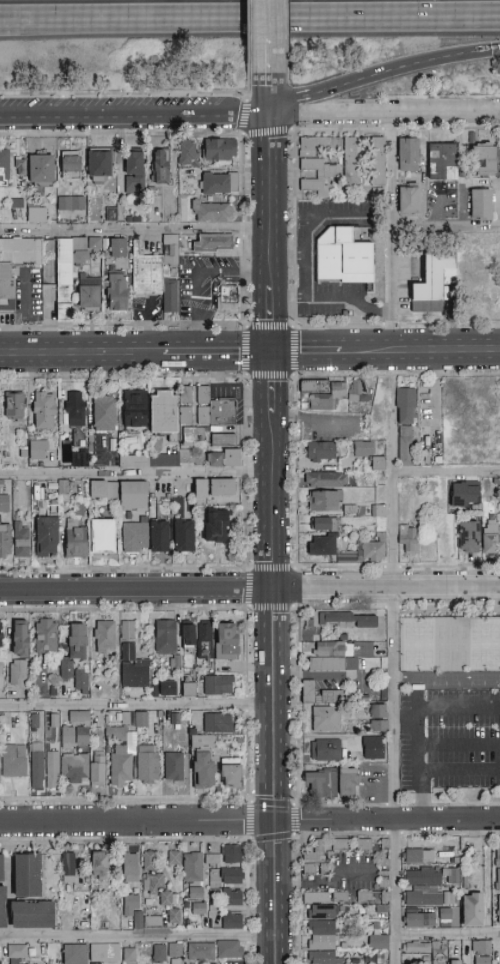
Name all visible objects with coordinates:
road: (249, 22)
road: (270, 44)
road: (496, 52)
road: (378, 76)
road: (135, 115)
traffic signals: (270, 116)
road: (385, 116)
road: (448, 128)
road: (330, 129)
road: (389, 129)
building: (220, 149)
building: (188, 153)
building: (408, 155)
building: (352, 159)
building: (485, 161)
building: (377, 162)
building: (442, 162)
building: (317, 164)
building: (1, 165)
building: (70, 165)
building: (100, 165)
building: (160, 167)
building: (41, 171)
building: (133, 172)
building: (219, 184)
building: (408, 201)
building: (71, 203)
building: (481, 204)
building: (213, 212)
building: (36, 215)
road: (270, 220)
road: (306, 224)
road: (135, 227)
road: (293, 227)
road: (444, 228)
road: (389, 232)
building: (213, 243)
building: (117, 248)
road: (288, 254)
building: (49, 255)
building: (343, 257)
building: (156, 272)
building: (65, 277)
road: (198, 277)
building: (433, 282)
building: (7, 289)
building: (117, 292)
building: (89, 294)
road: (332, 294)
building: (227, 301)
road: (449, 323)
road: (332, 324)
road: (390, 324)
road: (424, 349)
road: (309, 350)
traffic signals: (270, 351)
road: (291, 351)
road: (221, 353)
road: (86, 355)
road: (396, 374)
road: (390, 388)
building: (353, 389)
building: (323, 393)
building: (185, 405)
building: (406, 406)
building: (13, 407)
building: (74, 409)
building: (135, 409)
building: (214, 409)
building: (43, 411)
building: (164, 412)
building: (104, 413)
road: (313, 416)
building: (193, 436)
road: (392, 436)
building: (223, 440)
building: (405, 447)
building: (38, 450)
building: (320, 452)
building: (369, 454)
building: (197, 457)
building: (80, 458)
building: (162, 458)
building: (224, 459)
building: (131, 460)
road: (446, 471)
road: (135, 472)
road: (295, 476)
building: (325, 480)
building: (222, 487)
building: (200, 488)
building: (120, 493)
building: (464, 494)
building: (325, 501)
building: (4, 503)
building: (489, 510)
building: (378, 511)
building: (324, 524)
building: (215, 527)
building: (184, 535)
building: (103, 536)
building: (46, 537)
building: (159, 537)
building: (468, 537)
building: (135, 538)
building: (408, 538)
building: (21, 539)
building: (490, 539)
building: (75, 540)
building: (4, 541)
building: (322, 547)
road: (342, 567)
road: (391, 567)
road: (449, 567)
road: (271, 585)
road: (250, 589)
road: (449, 607)
road: (391, 608)
building: (347, 620)
building: (127, 630)
building: (1, 635)
building: (46, 636)
building: (188, 636)
building: (105, 637)
building: (165, 637)
building: (205, 640)
building: (20, 641)
building: (76, 641)
building: (226, 641)
park: (485, 644)
park: (419, 645)
building: (339, 655)
building: (0, 658)
building: (63, 668)
building: (133, 668)
building: (17, 672)
road: (446, 677)
building: (76, 678)
building: (218, 685)
building: (167, 690)
building: (188, 690)
building: (317, 694)
road: (136, 705)
road: (459, 708)
road: (297, 710)
building: (379, 718)
road: (393, 718)
building: (325, 719)
building: (141, 720)
building: (218, 723)
road: (406, 723)
building: (77, 730)
road: (459, 744)
building: (373, 748)
building: (325, 750)
building: (121, 755)
road: (418, 758)
building: (14, 760)
building: (147, 764)
building: (173, 766)
building: (44, 768)
building: (84, 768)
building: (204, 770)
road: (459, 770)
building: (231, 773)
building: (348, 782)
building: (319, 784)
road: (459, 803)
road: (409, 804)
road: (392, 805)
traffic signals: (273, 820)
road: (386, 820)
road: (136, 821)
road: (340, 834)
road: (393, 834)
road: (450, 834)
road: (249, 837)
building: (340, 845)
building: (364, 845)
building: (314, 852)
building: (384, 853)
building: (232, 854)
building: (496, 855)
building: (419, 856)
building: (174, 858)
building: (211, 859)
building: (149, 860)
building: (99, 866)
building: (193, 867)
building: (1, 868)
building: (68, 868)
building: (130, 868)
building: (498, 868)
building: (309, 869)
building: (27, 875)
building: (232, 876)
building: (432, 876)
road: (320, 880)
building: (384, 883)
building: (154, 884)
road: (274, 891)
building: (196, 893)
building: (364, 897)
building: (385, 897)
building: (163, 898)
building: (231, 898)
building: (325, 898)
building: (430, 898)
road: (298, 899)
building: (2, 906)
building: (199, 909)
building: (498, 909)
building: (472, 910)
building: (139, 914)
building: (32, 915)
building: (174, 917)
building: (424, 918)
building: (232, 922)
building: (321, 934)
road: (447, 934)
road: (137, 938)
building: (378, 942)
building: (216, 950)
building: (426, 950)
building: (13, 952)
building: (482, 952)
building: (104, 953)
building: (175, 953)
building: (75, 954)
building: (160, 954)
building: (130, 956)
building: (373, 958)
building: (454, 962)

